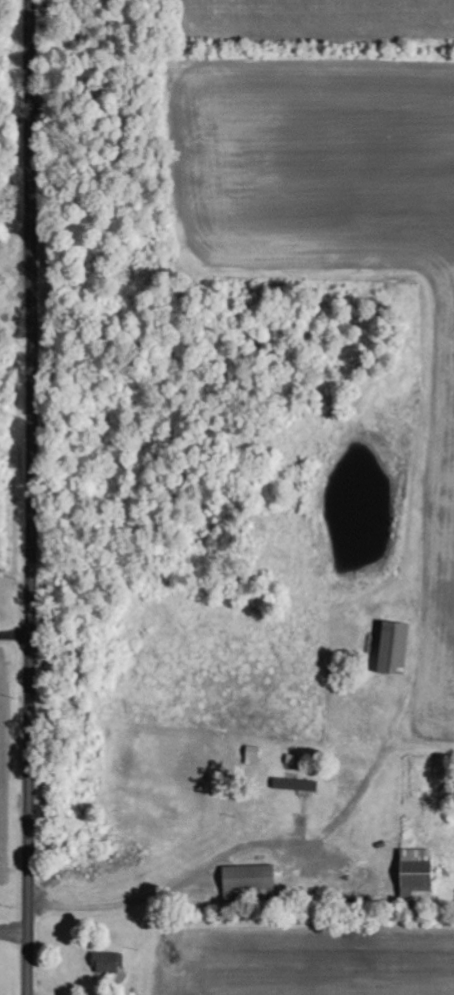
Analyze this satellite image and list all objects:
road: (29, 497)
building: (397, 648)
building: (255, 756)
building: (296, 785)
building: (420, 875)
building: (251, 878)
building: (108, 963)

